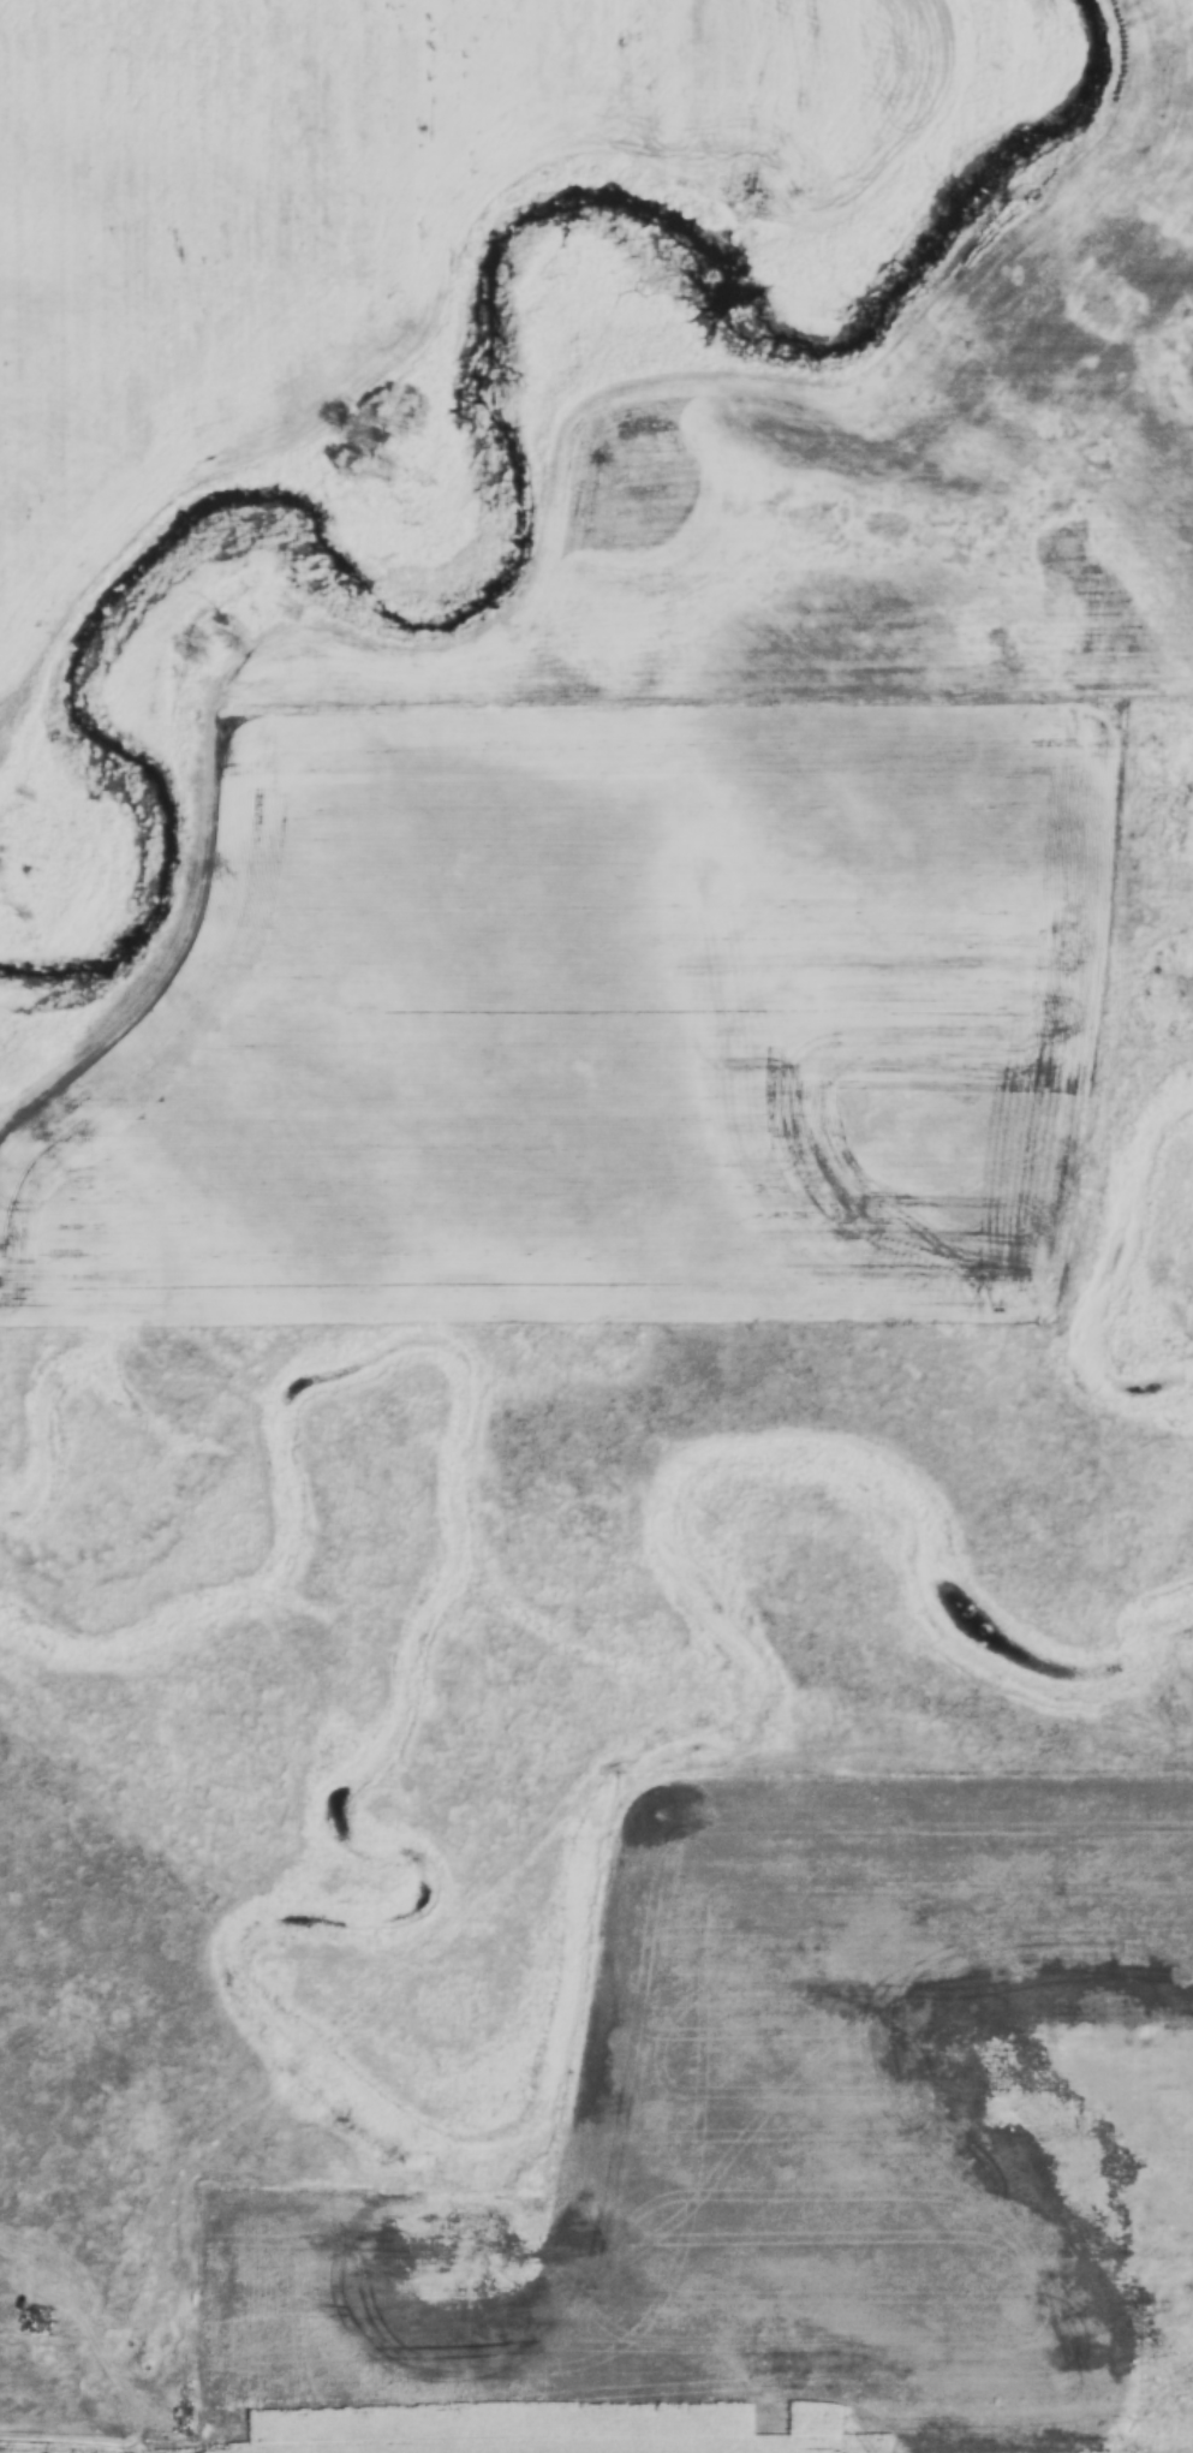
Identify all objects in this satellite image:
river: (512, 494)

